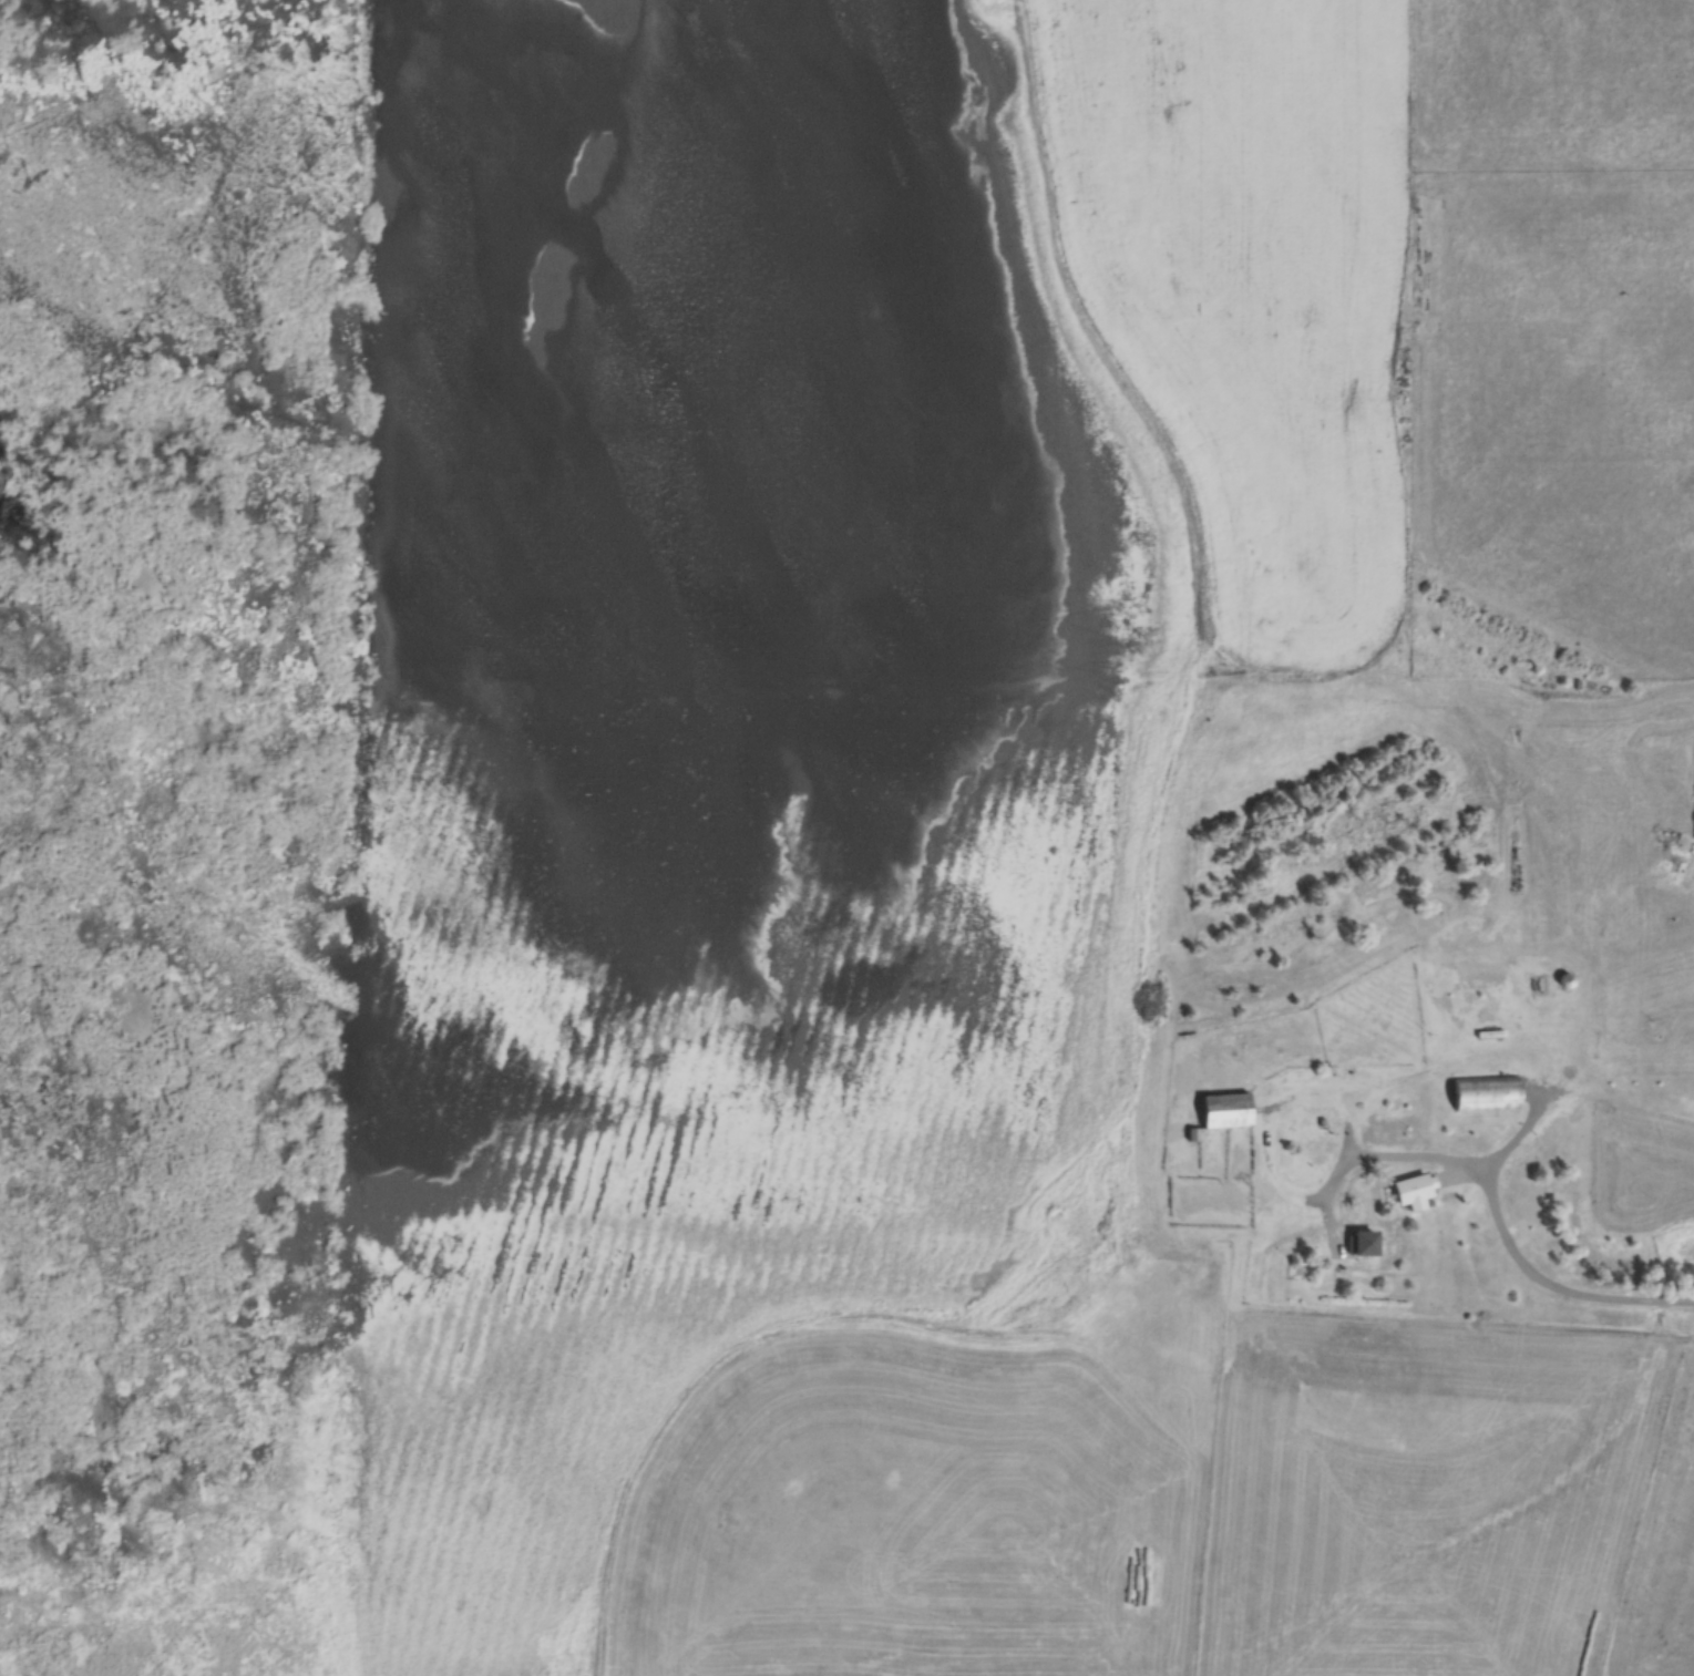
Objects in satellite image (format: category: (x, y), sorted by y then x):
building: (1486, 1093)
building: (1228, 1108)
building: (1416, 1189)
building: (1366, 1243)
road: (1583, 1329)

